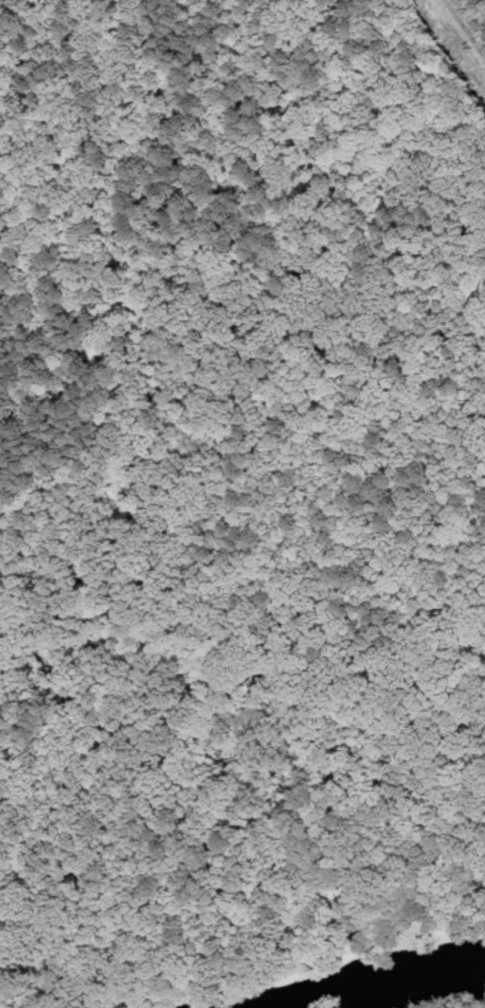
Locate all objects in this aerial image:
river: (404, 988)

